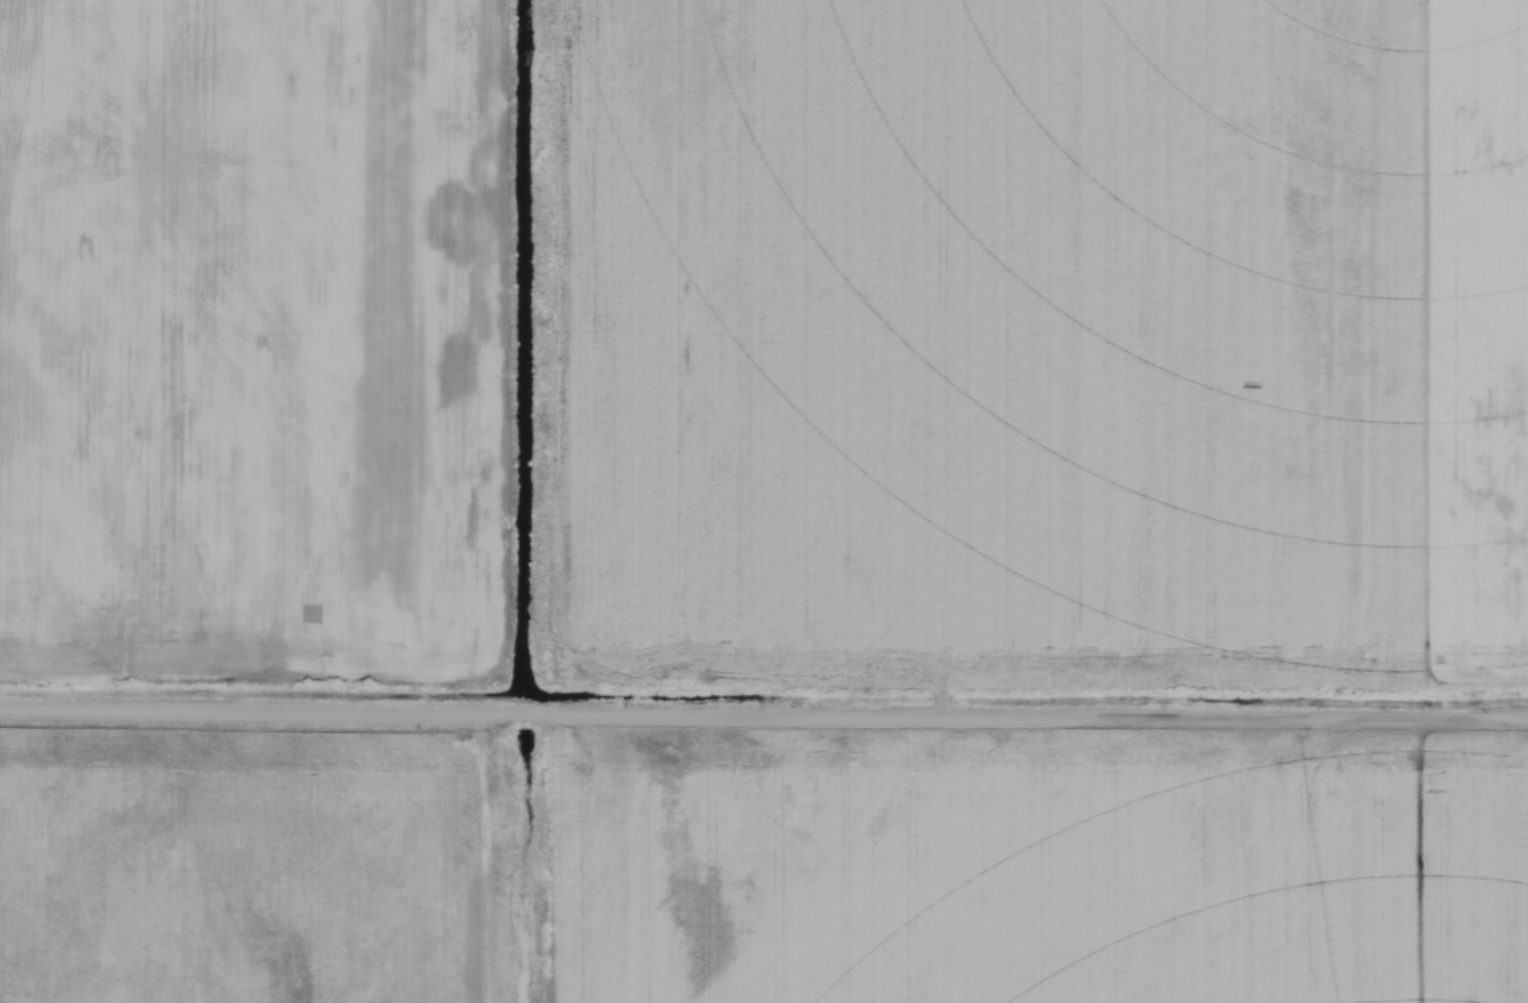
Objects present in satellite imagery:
road: (763, 722)

